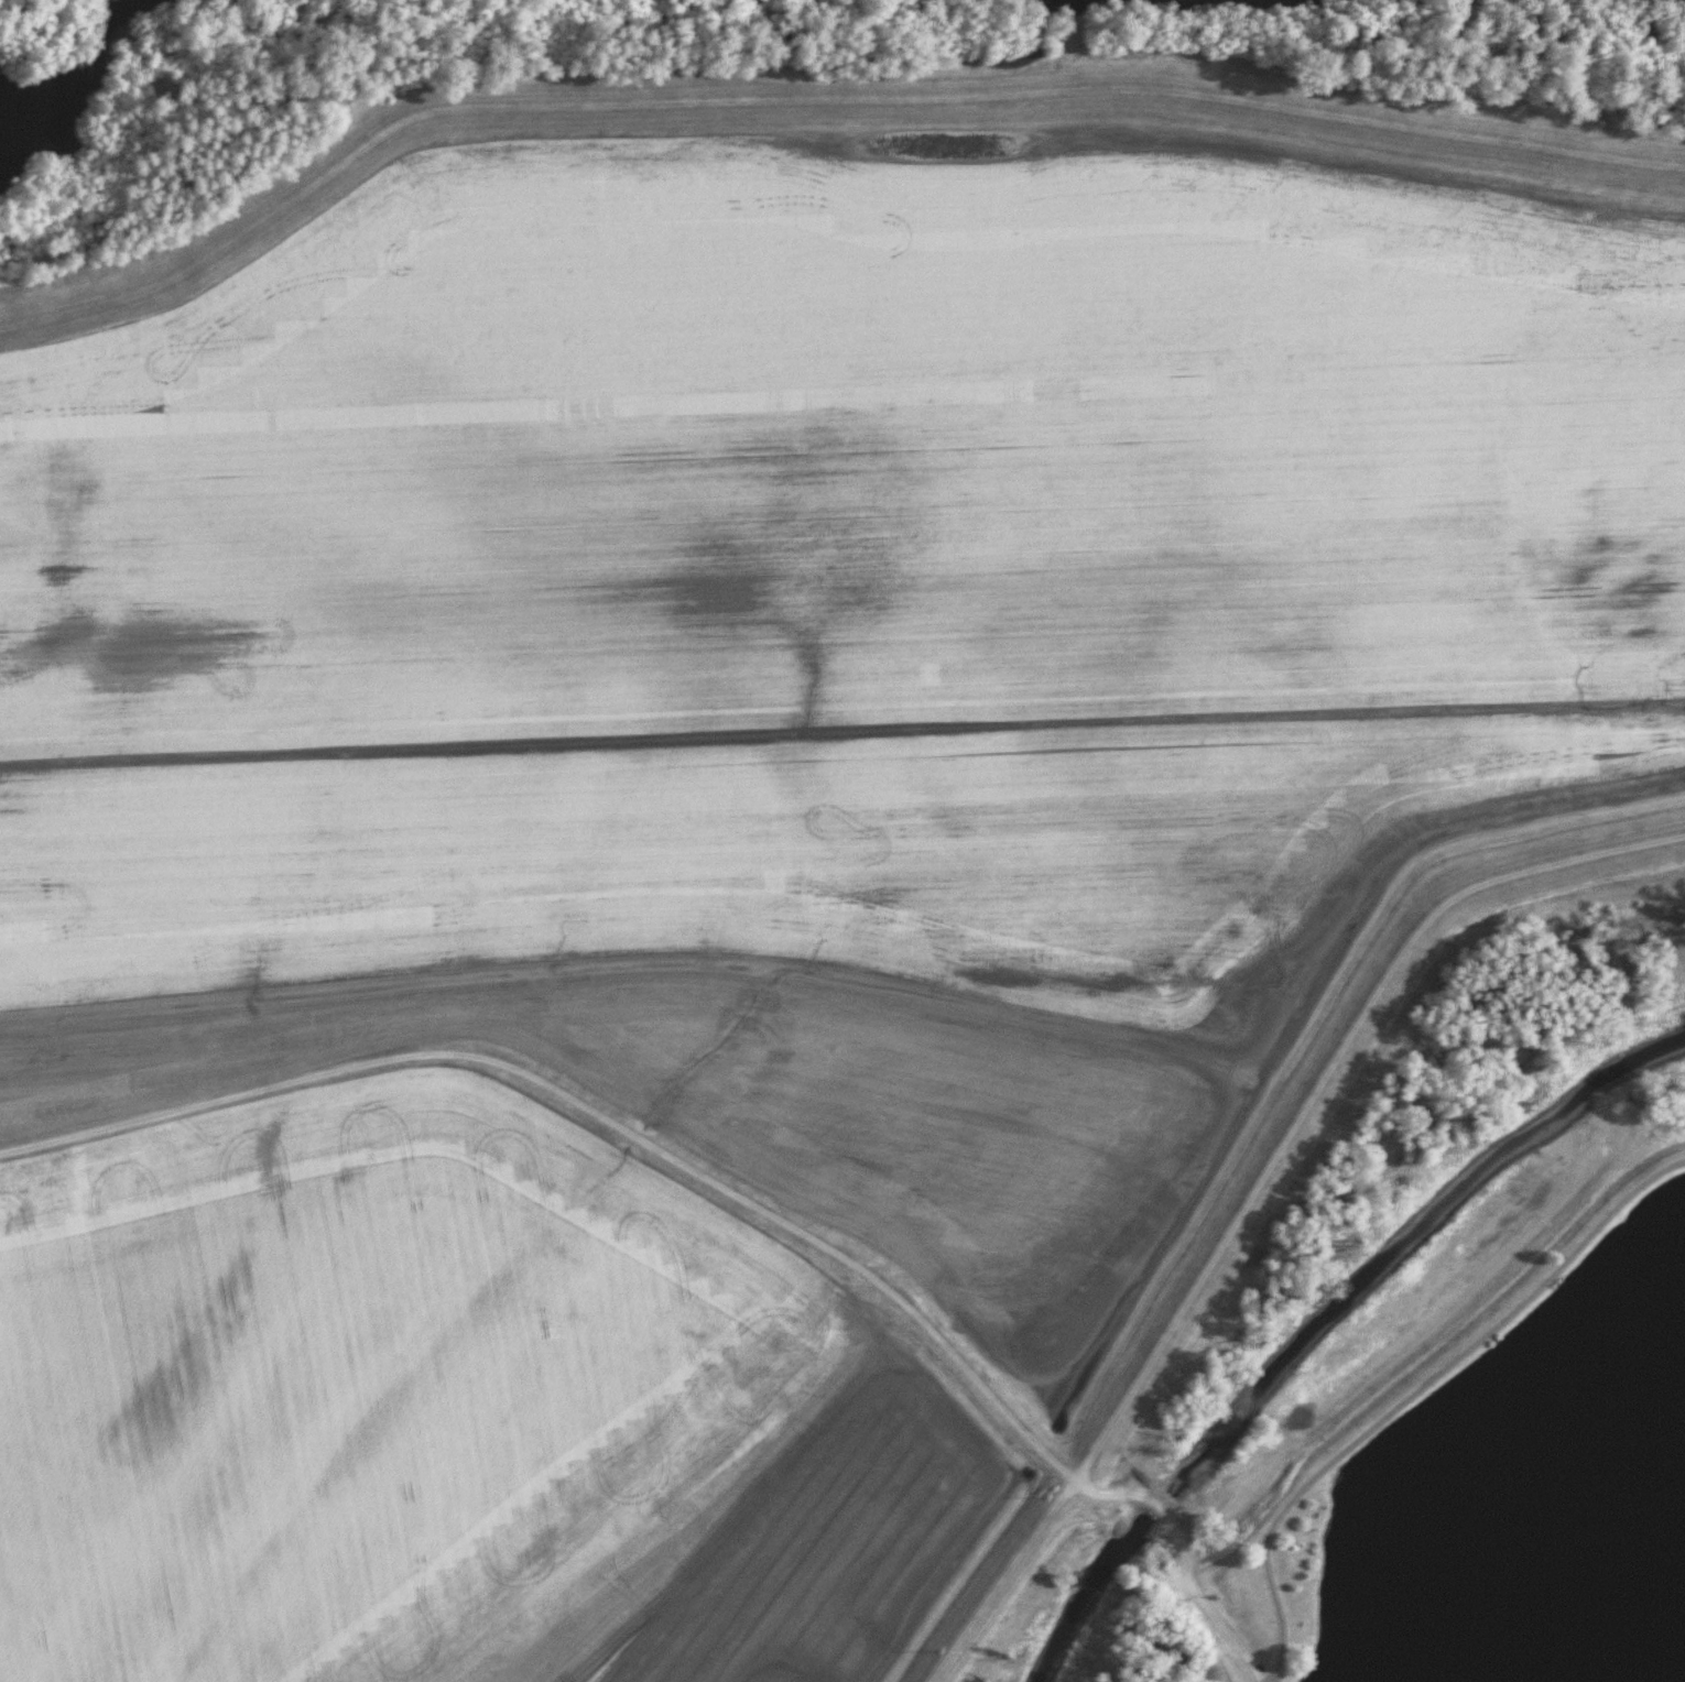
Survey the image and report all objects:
road: (610, 1118)
road: (1261, 1191)
road: (1412, 1391)
road: (1115, 1517)
road: (1131, 1531)
road: (1203, 1609)

